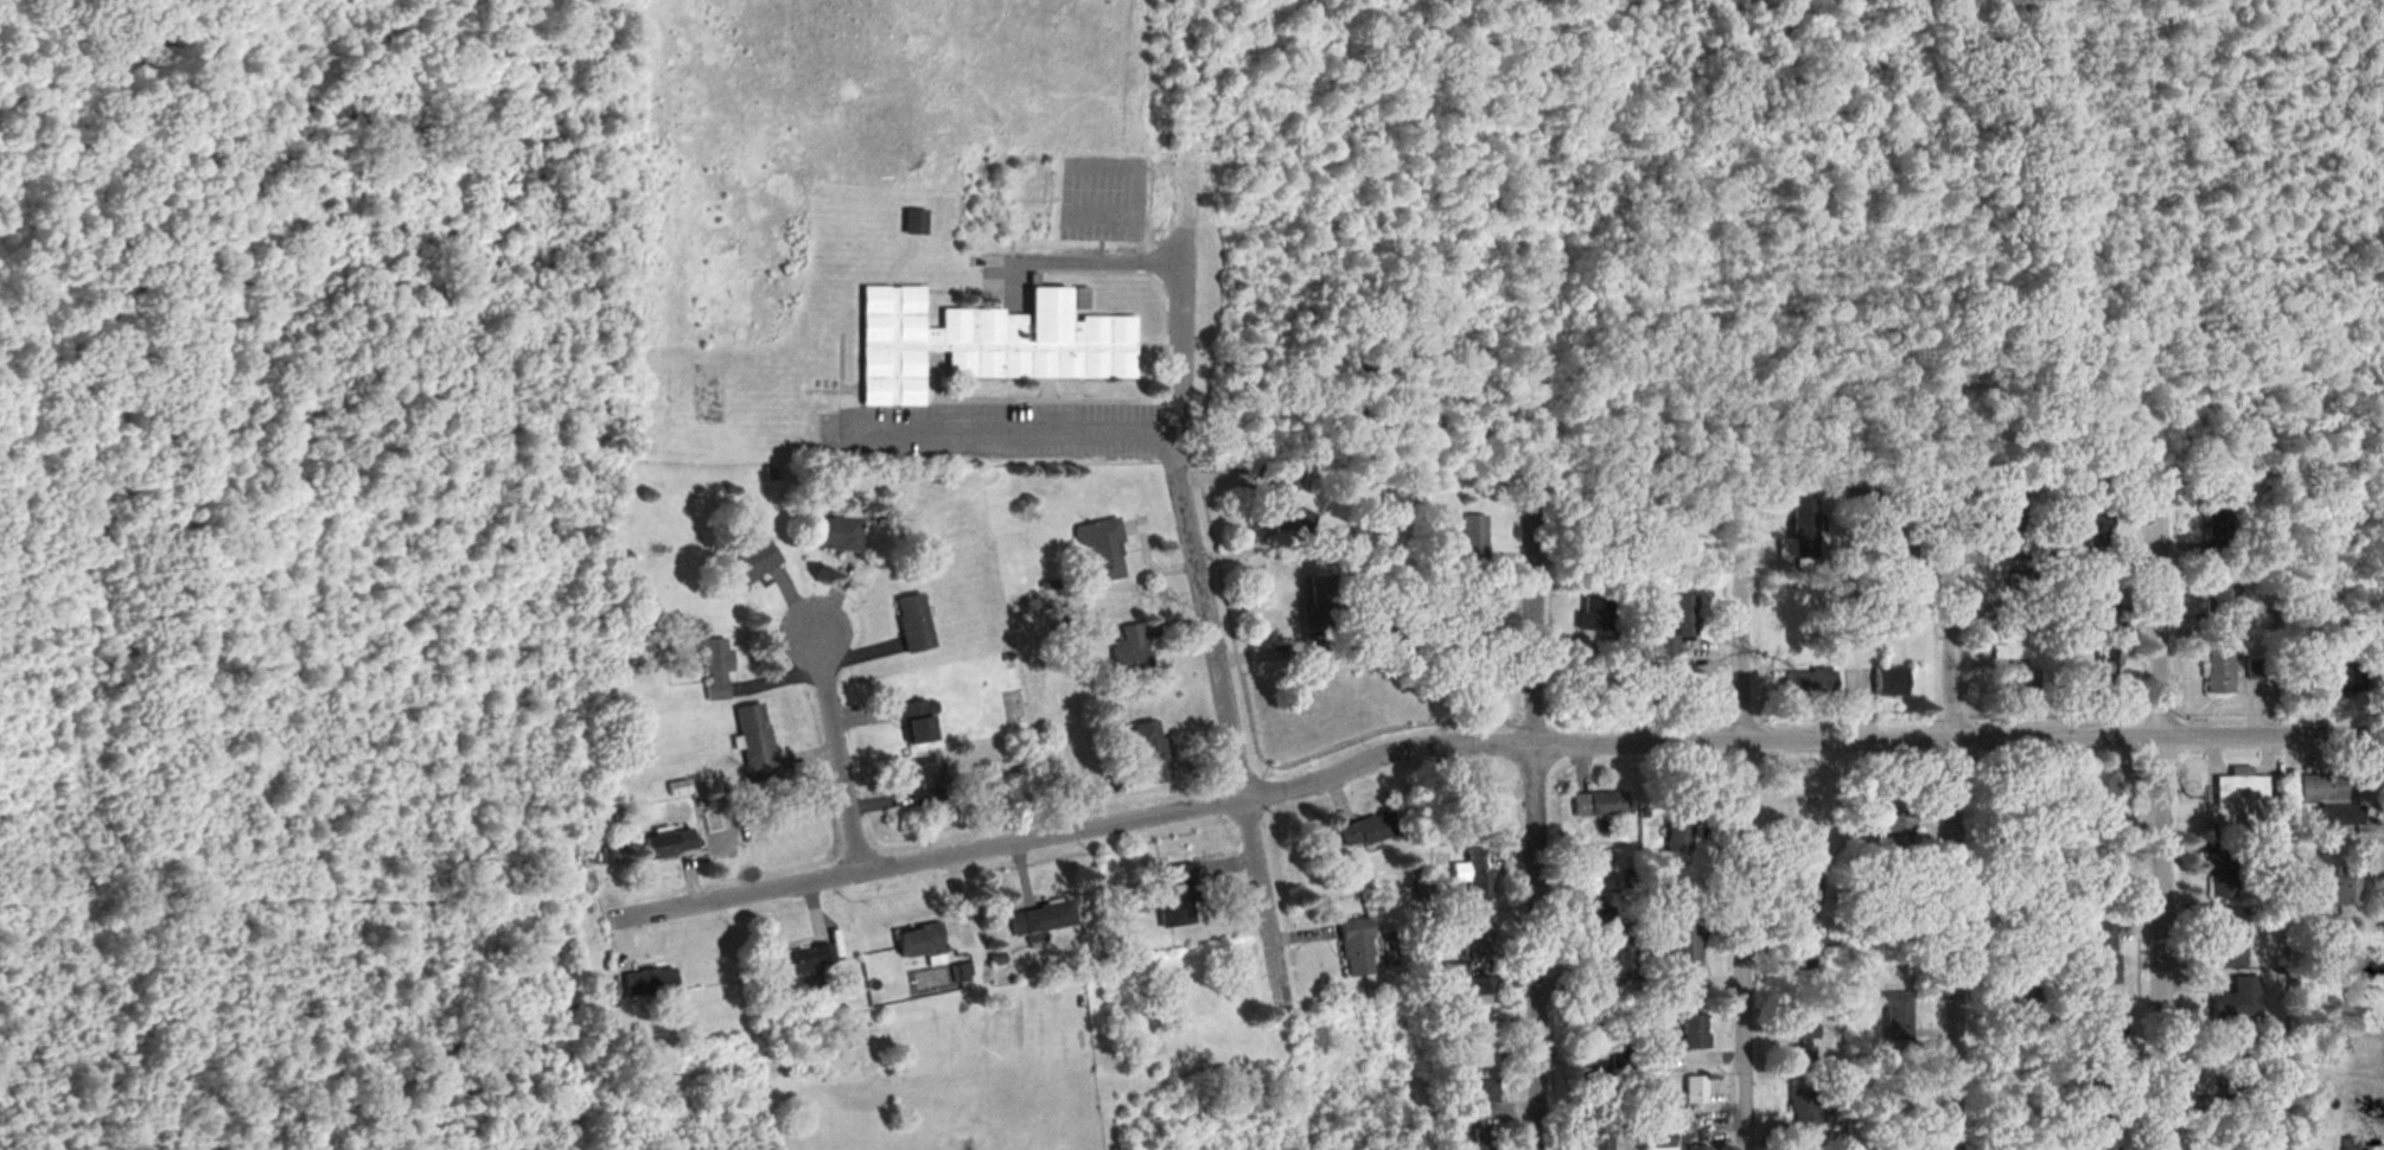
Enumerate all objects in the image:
road: (1096, 162)
building: (912, 223)
road: (1090, 258)
building: (986, 343)
road: (1104, 434)
building: (2012, 504)
building: (1290, 518)
building: (2218, 520)
building: (835, 534)
building: (2098, 534)
building: (1793, 539)
building: (1471, 541)
building: (1099, 548)
building: (754, 563)
building: (2015, 584)
building: (2224, 598)
building: (2104, 602)
road: (1209, 615)
building: (1583, 621)
building: (911, 622)
building: (2006, 625)
building: (1675, 628)
building: (1127, 650)
building: (2106, 652)
building: (2218, 667)
building: (718, 670)
building: (2256, 670)
building: (2333, 673)
building: (1888, 682)
building: (2021, 682)
building: (2090, 682)
building: (1808, 683)
building: (1474, 694)
building: (913, 720)
building: (757, 741)
road: (1484, 745)
road: (837, 749)
building: (1147, 750)
building: (923, 782)
building: (2326, 787)
building: (2248, 791)
building: (1881, 796)
building: (2103, 798)
building: (1596, 804)
road: (1959, 807)
road: (1751, 810)
road: (2169, 810)
road: (1535, 811)
building: (1474, 812)
building: (2340, 814)
building: (1891, 824)
building: (1365, 829)
building: (1677, 833)
building: (670, 844)
building: (1592, 863)
building: (2092, 868)
building: (2224, 870)
building: (1472, 873)
building: (2344, 887)
building: (1172, 897)
building: (1804, 906)
road: (1266, 911)
building: (1594, 919)
building: (1038, 921)
building: (1478, 937)
building: (919, 944)
building: (2229, 945)
building: (1353, 946)
building: (1683, 952)
building: (1803, 954)
building: (2104, 954)
building: (801, 961)
building: (1592, 965)
building: (646, 982)
building: (1470, 985)
building: (1628, 986)
building: (2357, 997)
building: (2023, 998)
building: (2237, 1001)
building: (1897, 1016)
building: (2106, 1028)
building: (1693, 1031)
building: (1481, 1040)
building: (1804, 1049)
building: (1655, 1060)
building: (2230, 1075)
building: (1595, 1080)
building: (1694, 1090)
building: (1480, 1091)
building: (1806, 1113)
building: (1483, 1138)
building: (1657, 1138)
building: (1593, 1141)
building: (2352, 1144)
building: (2105, 1146)
building: (1697, 1148)

